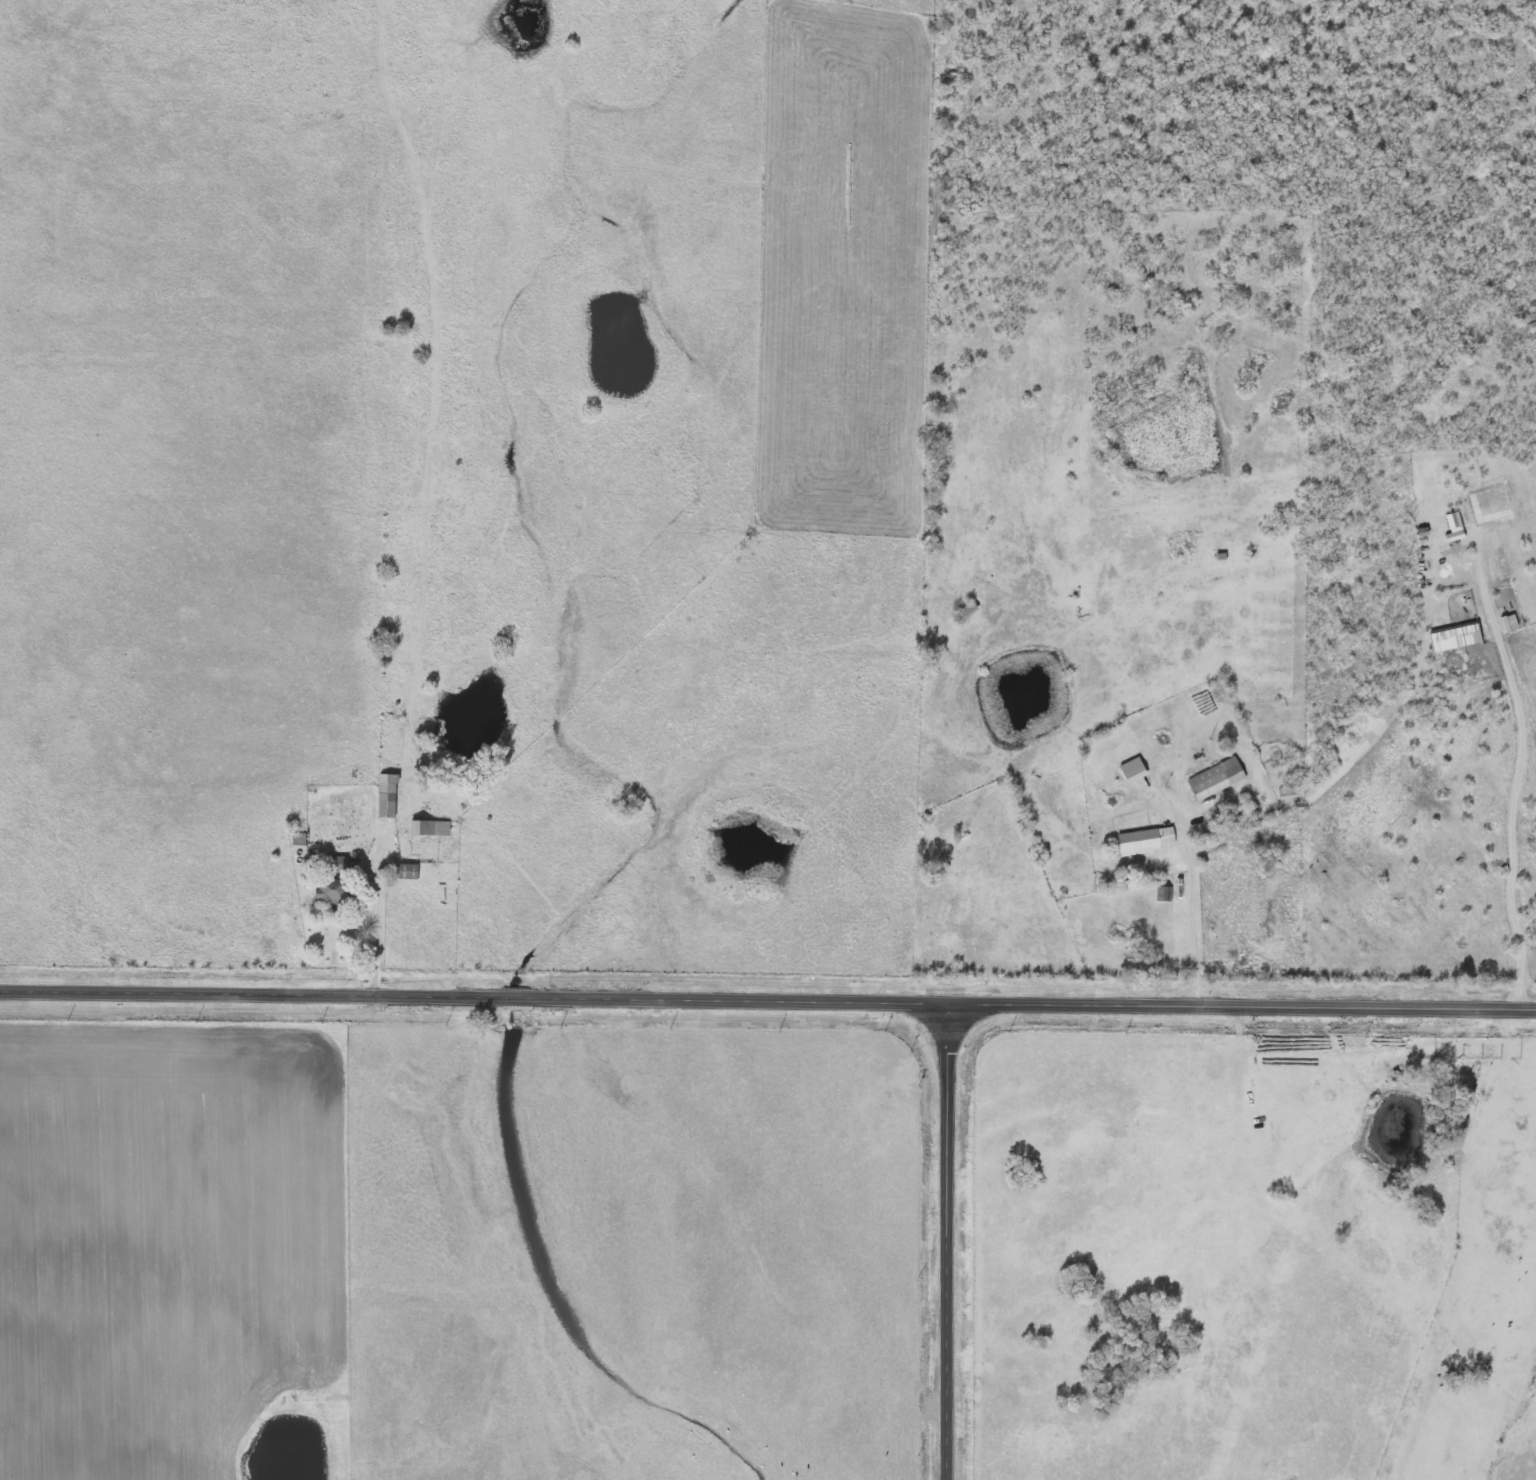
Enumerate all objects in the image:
building: (963, 611)
building: (1129, 772)
building: (1214, 778)
building: (1287, 793)
building: (386, 796)
building: (428, 827)
building: (297, 839)
building: (1145, 840)
building: (406, 871)
building: (329, 880)
road: (1192, 913)
road: (377, 919)
road: (768, 996)
road: (942, 1239)

